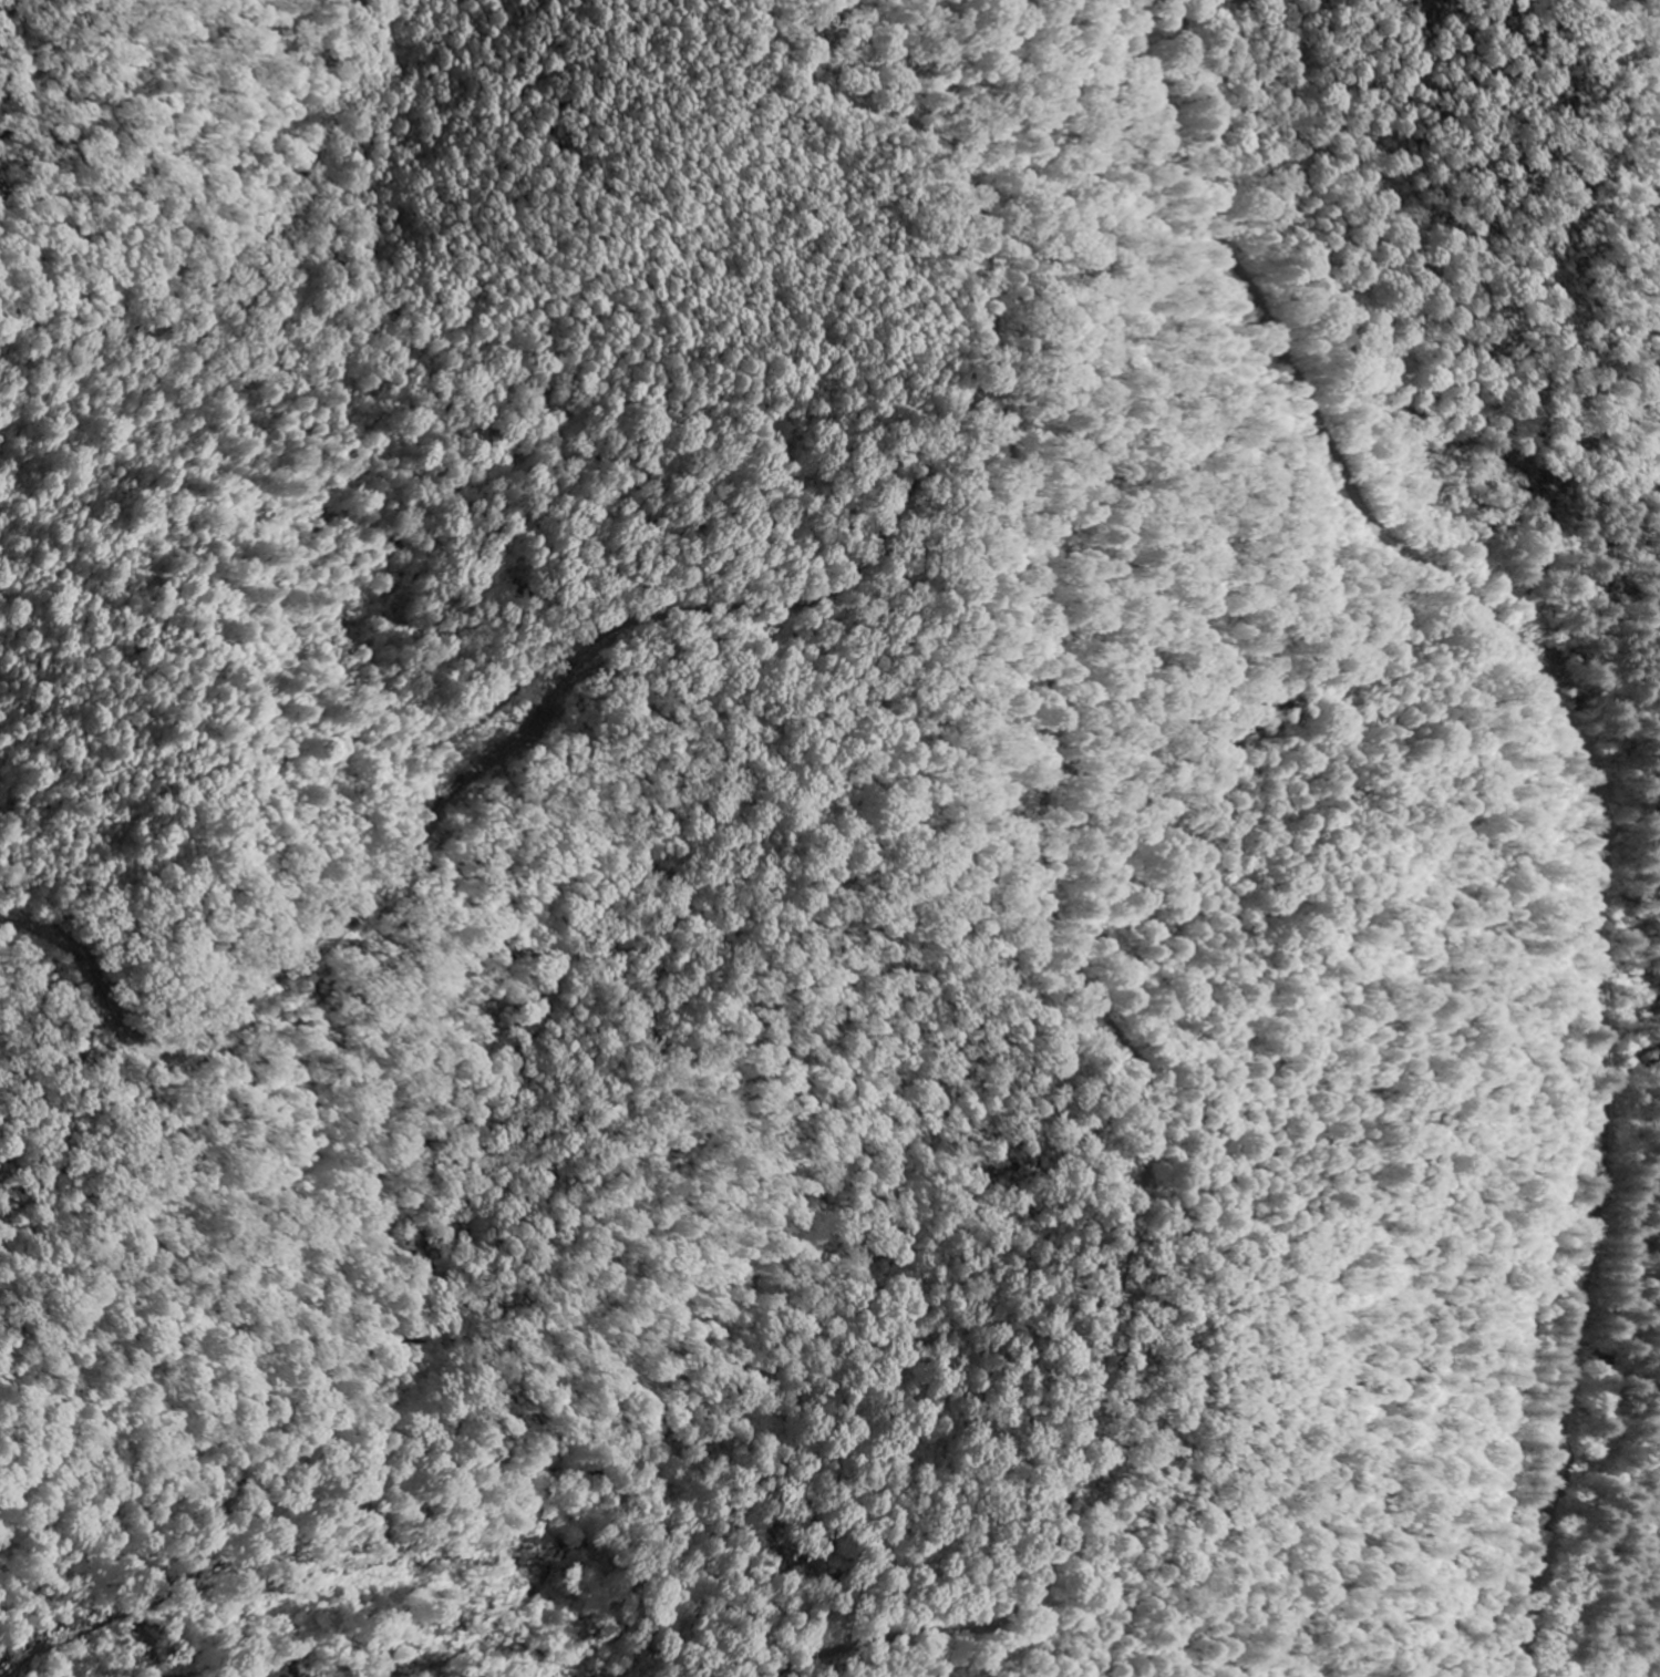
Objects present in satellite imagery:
road: (1586, 772)

